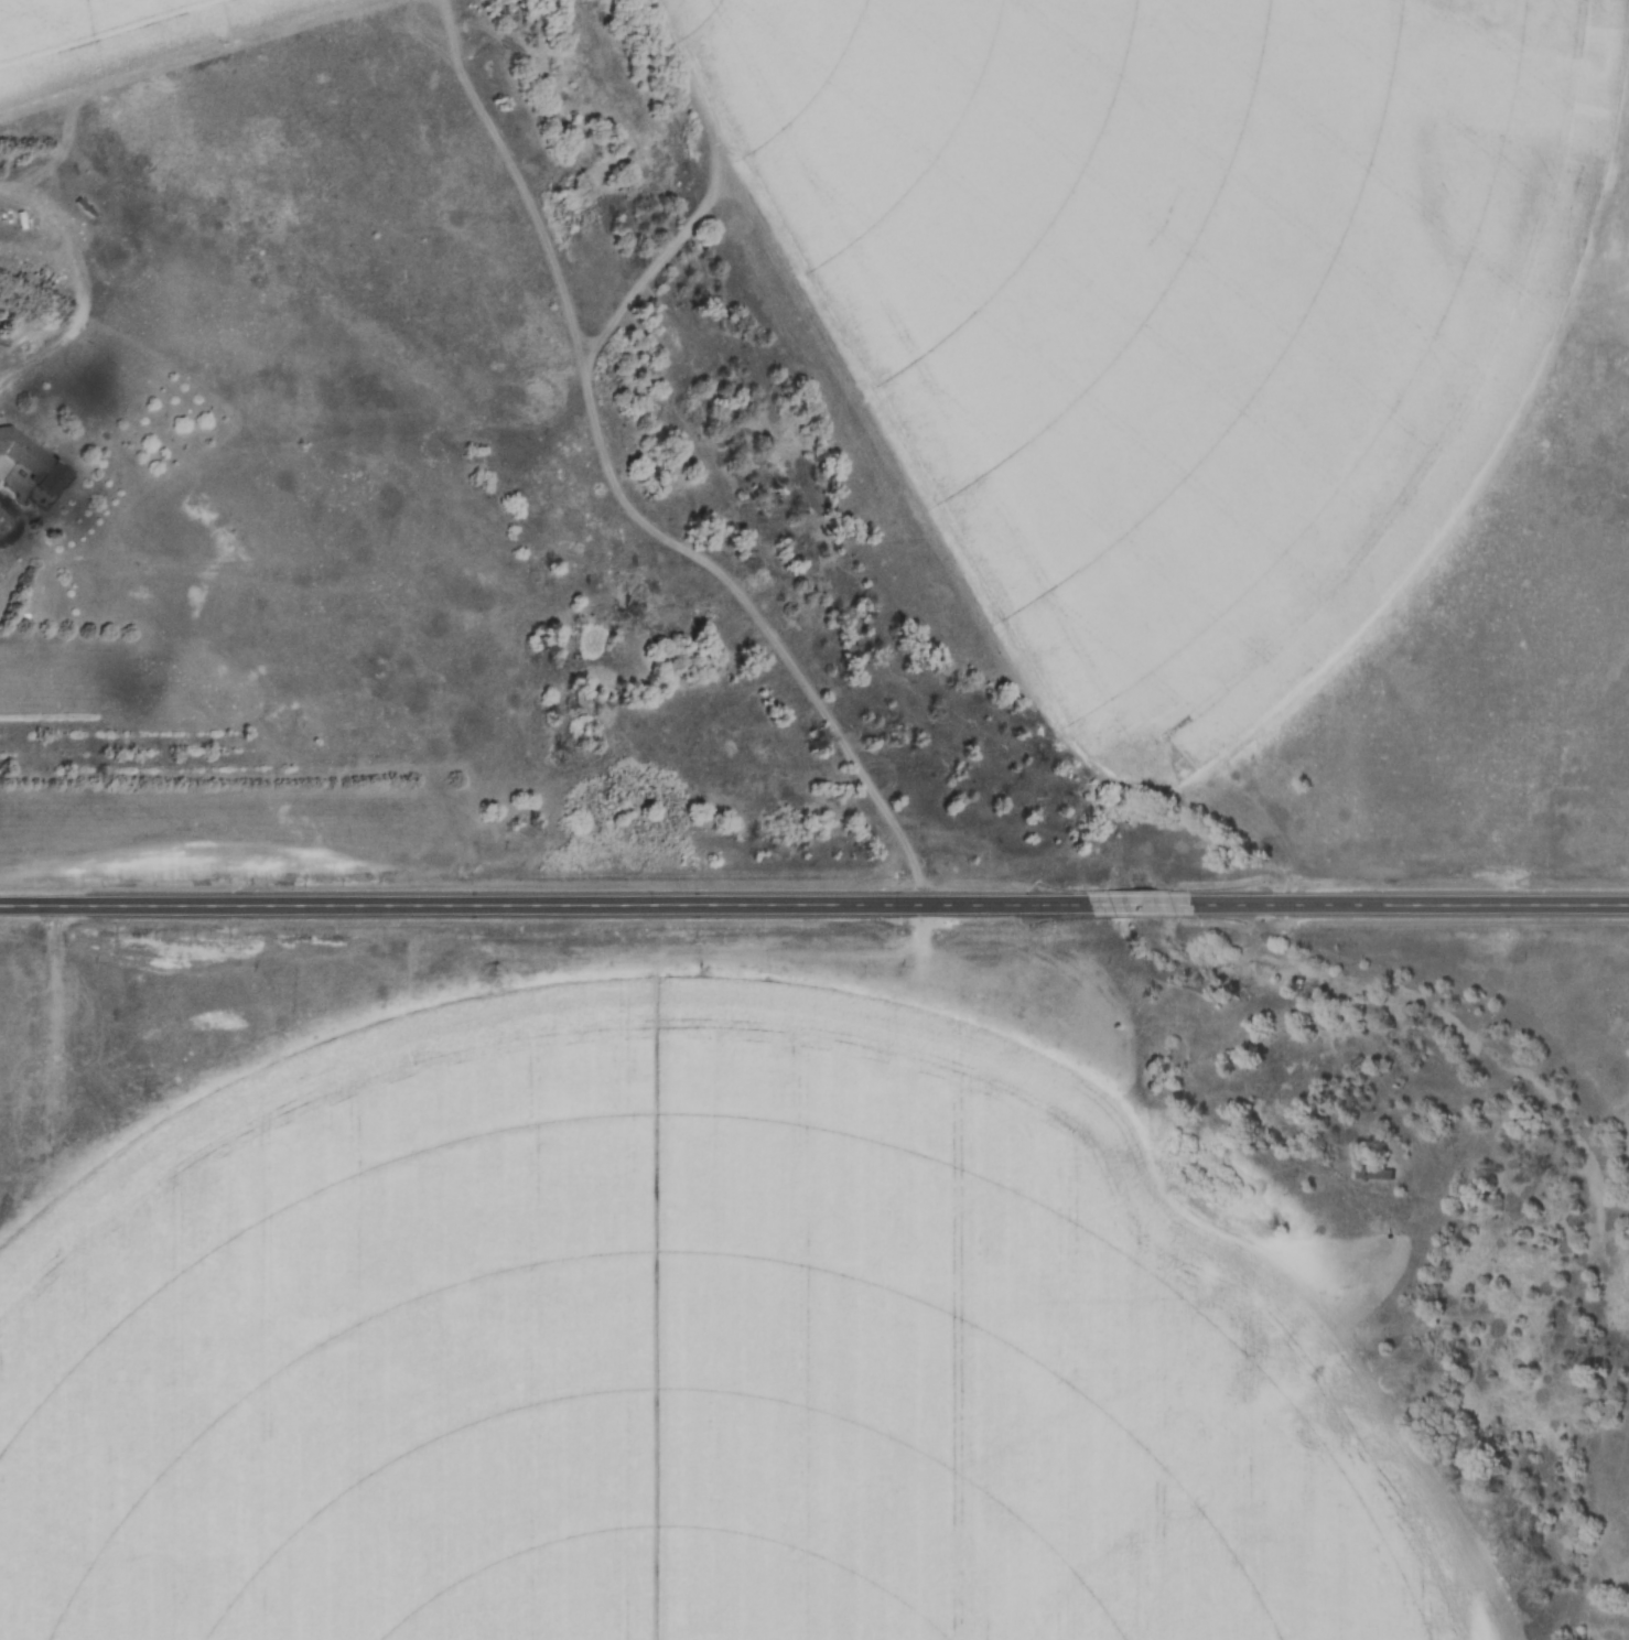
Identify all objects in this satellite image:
building: (34, 464)
road: (1413, 903)
road: (548, 904)
road: (1147, 904)
building: (1377, 1175)

